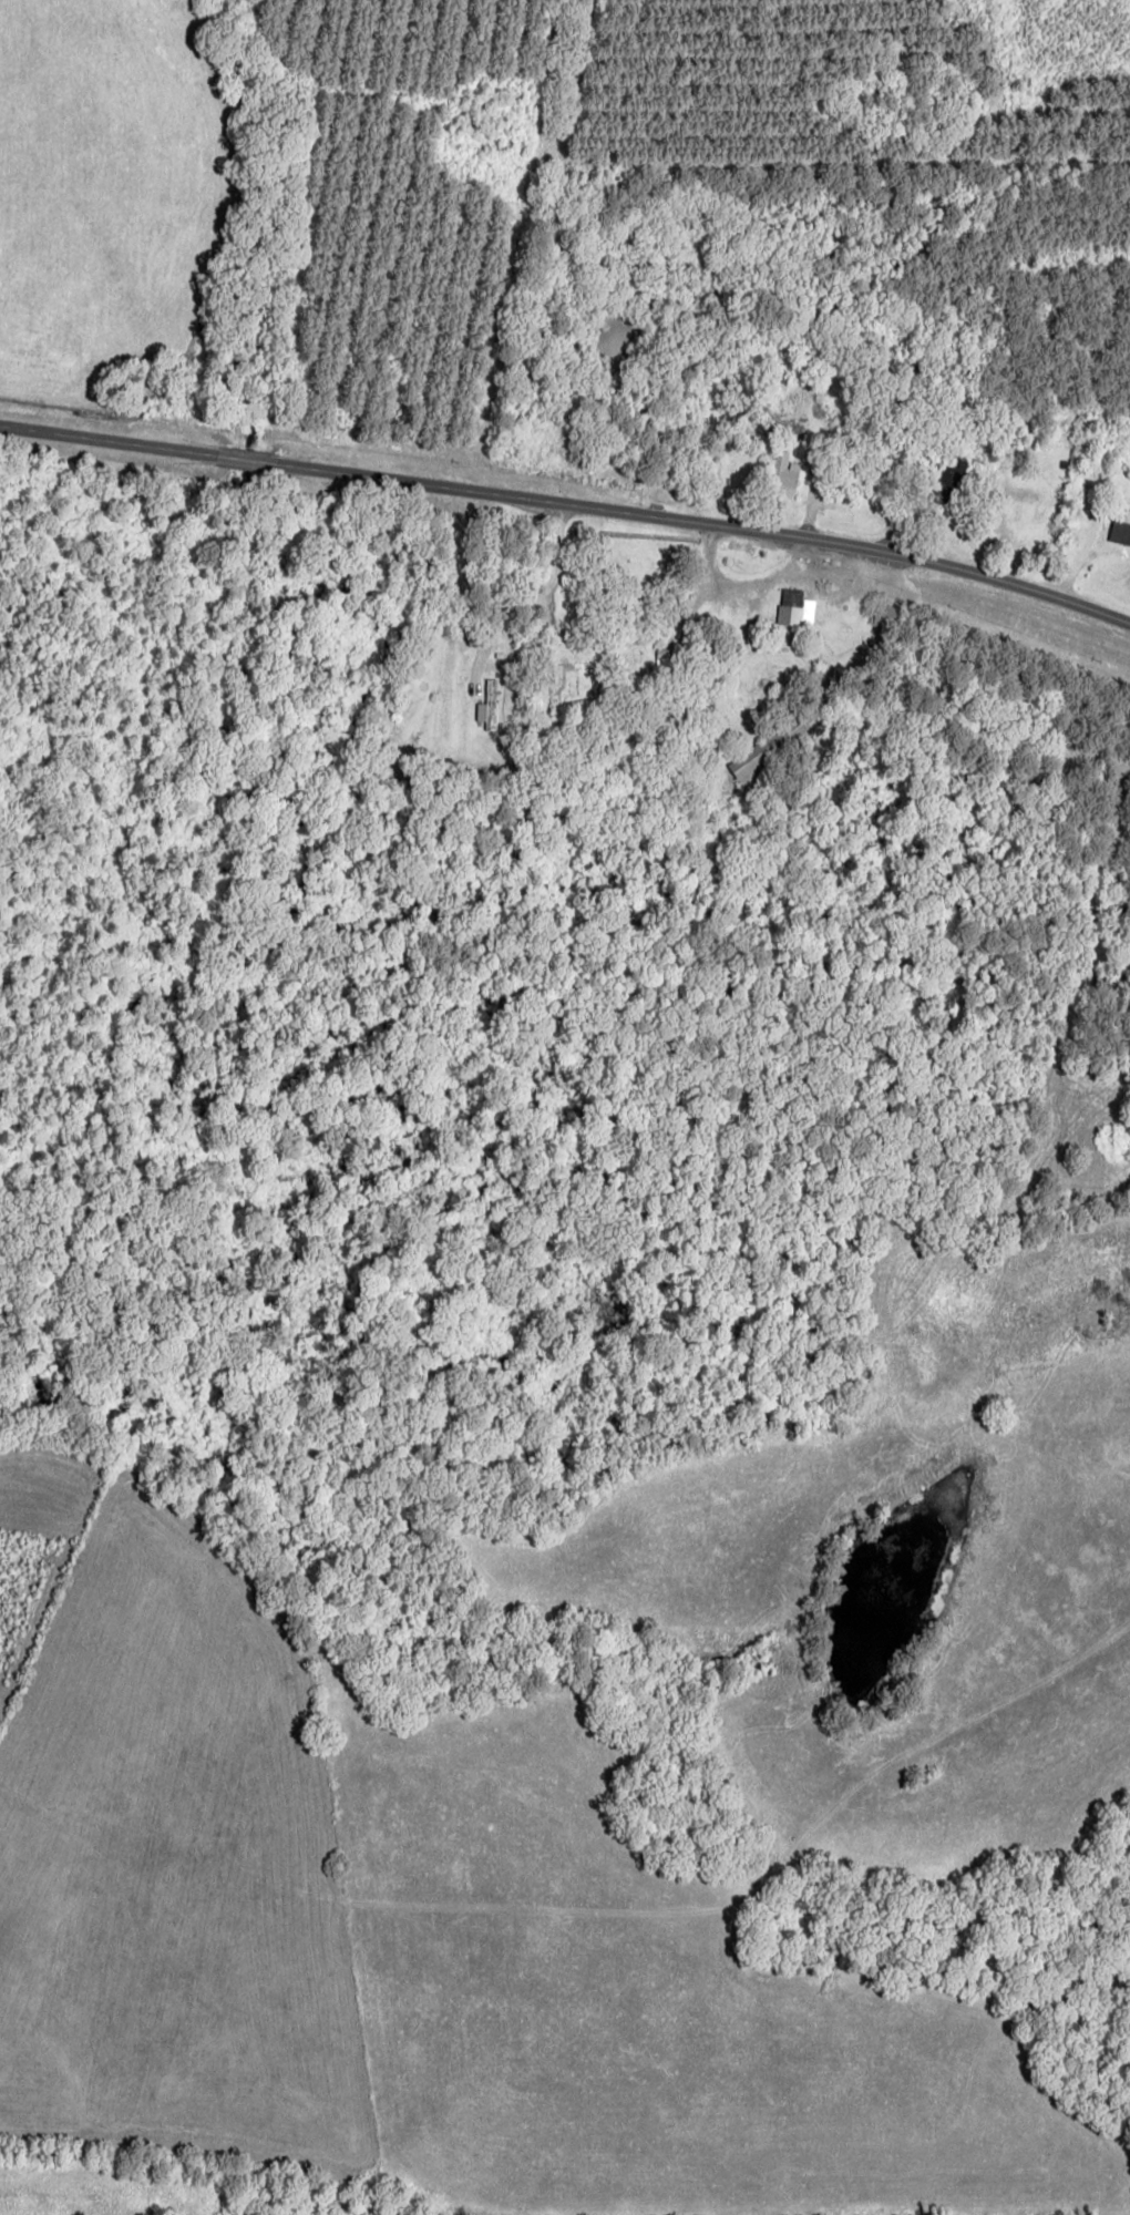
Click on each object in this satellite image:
building: (784, 473)
road: (568, 505)
building: (1120, 522)
building: (795, 608)
building: (638, 612)
building: (888, 615)
building: (489, 705)
building: (769, 751)

